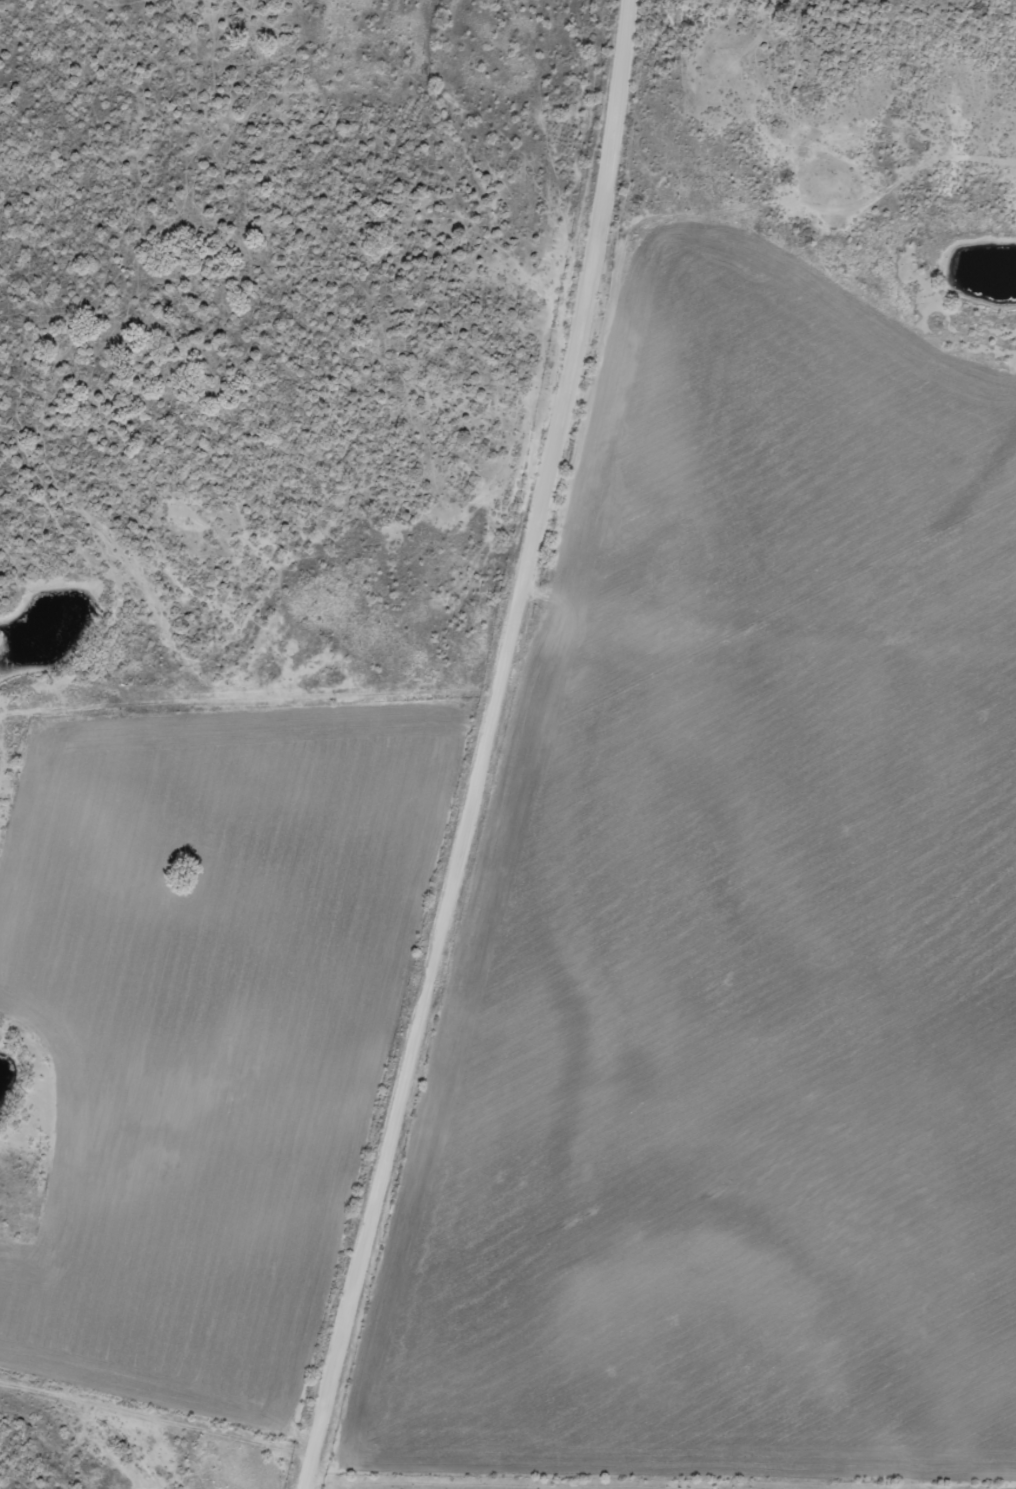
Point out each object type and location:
road: (631, 311)
road: (791, 625)
road: (556, 660)
road: (274, 686)
road: (454, 1095)

